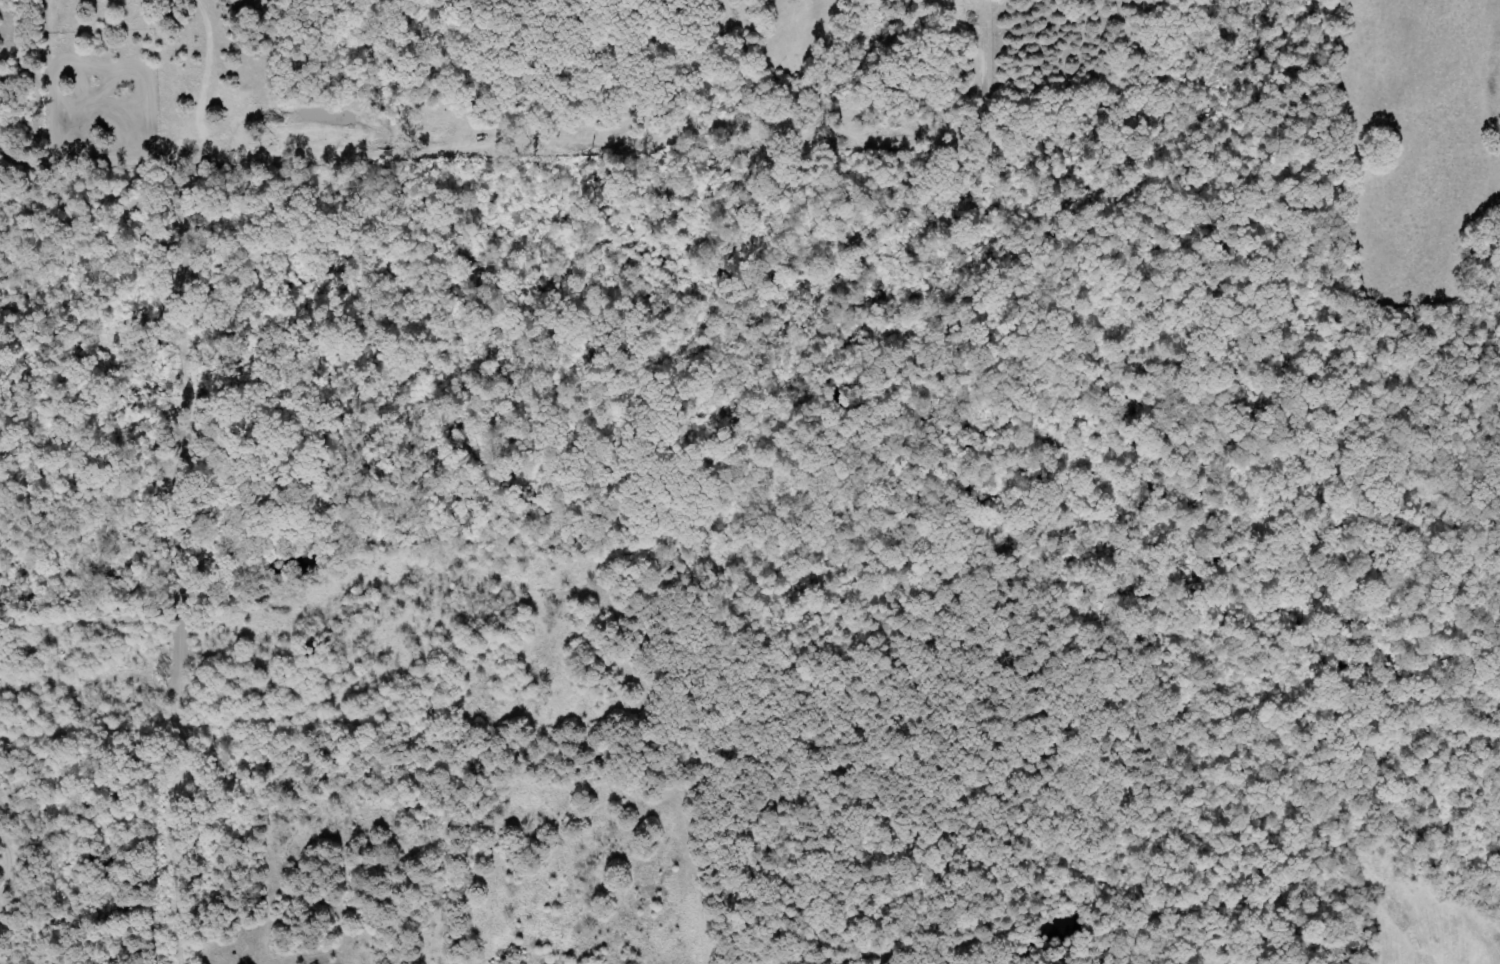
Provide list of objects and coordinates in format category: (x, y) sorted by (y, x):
road: (1310, 64)

